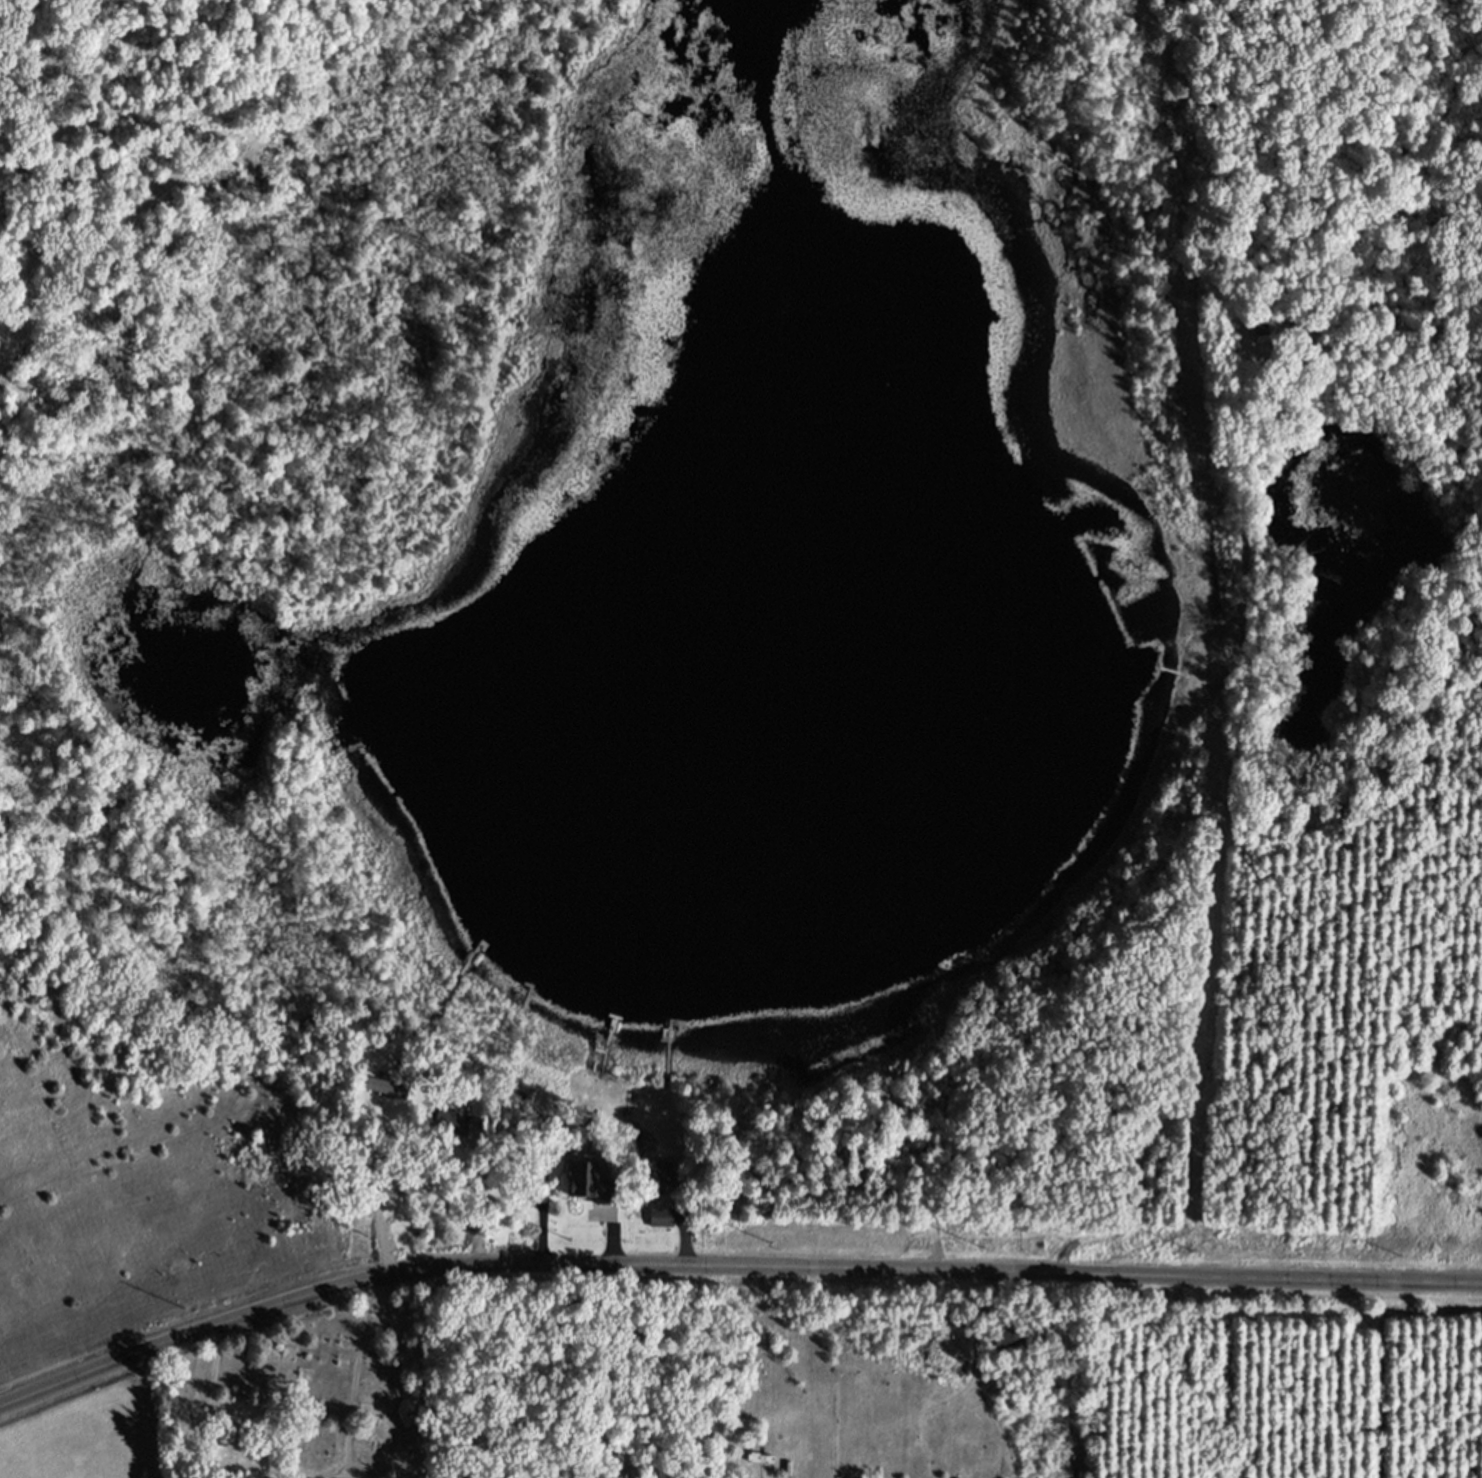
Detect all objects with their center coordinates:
road: (1154, 866)
building: (379, 1096)
building: (654, 1182)
building: (588, 1189)
building: (660, 1227)
road: (729, 1269)
building: (1003, 1349)
park: (297, 1390)

